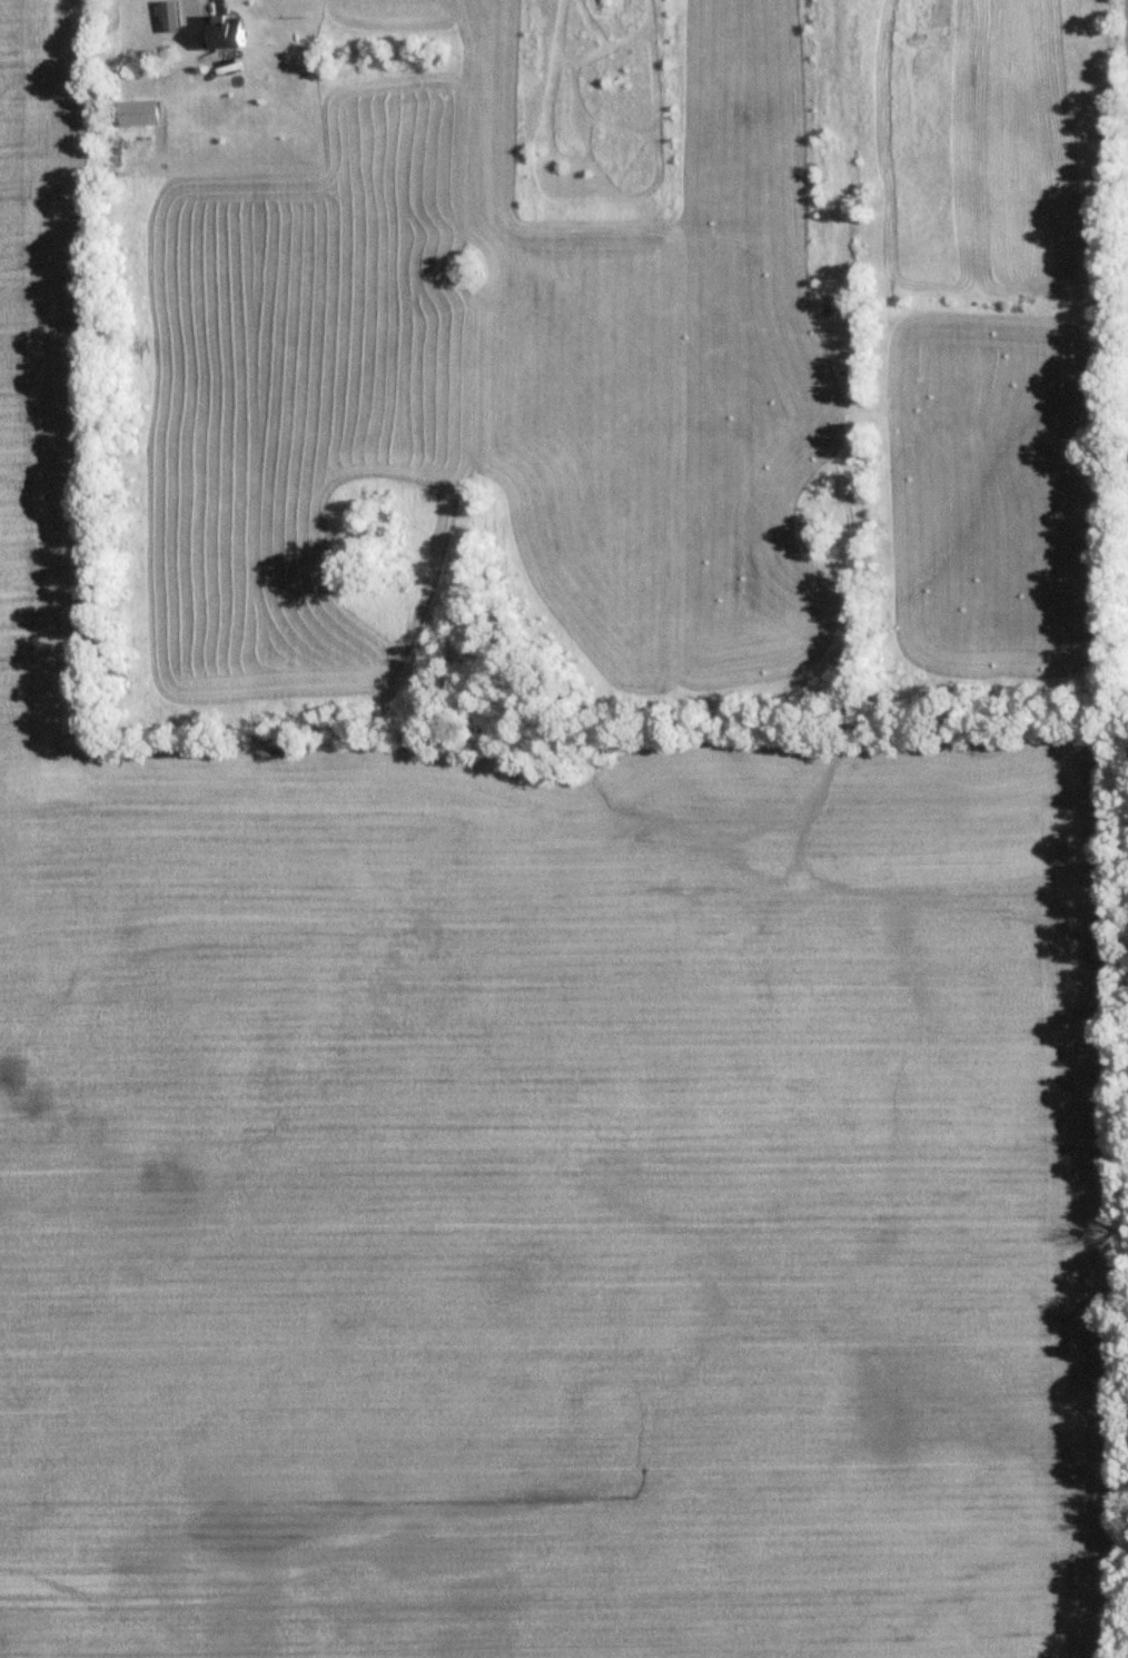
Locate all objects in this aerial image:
building: (226, 30)

